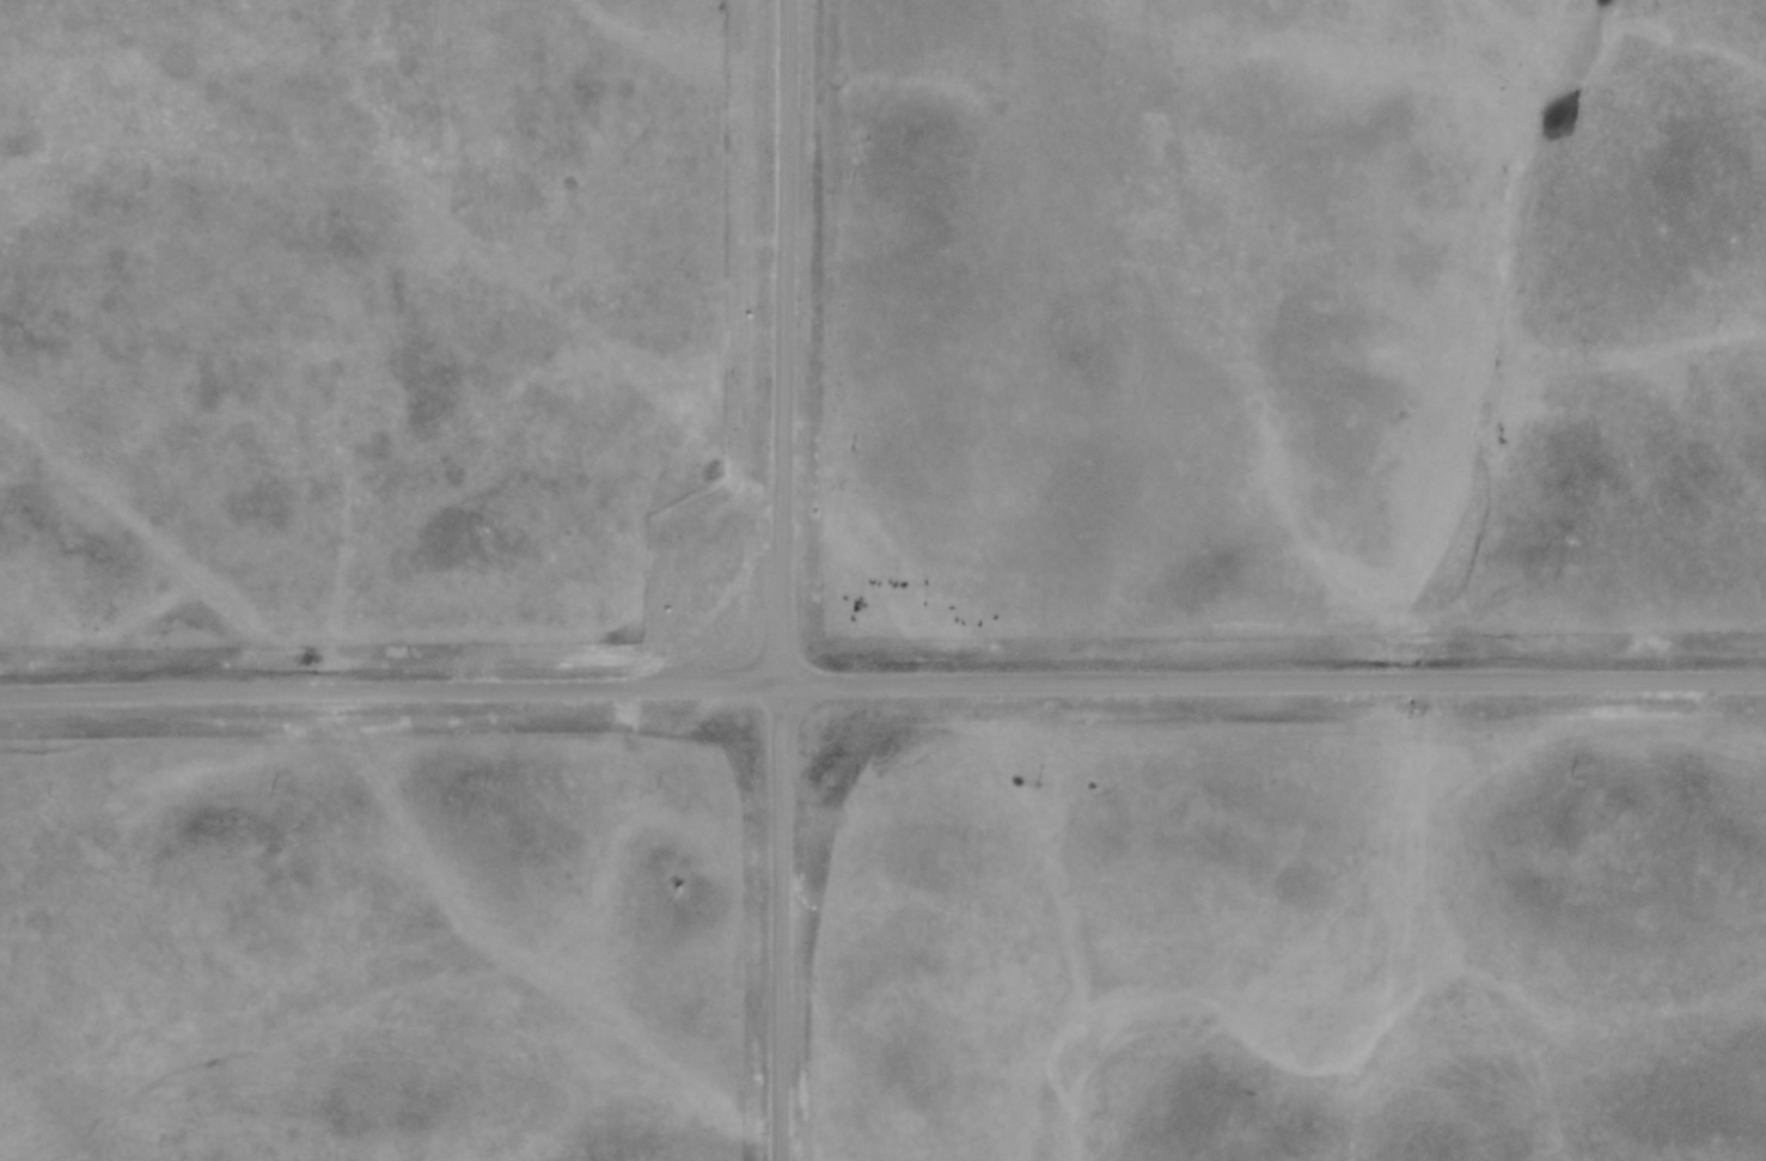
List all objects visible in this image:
road: (783, 580)
road: (882, 686)

